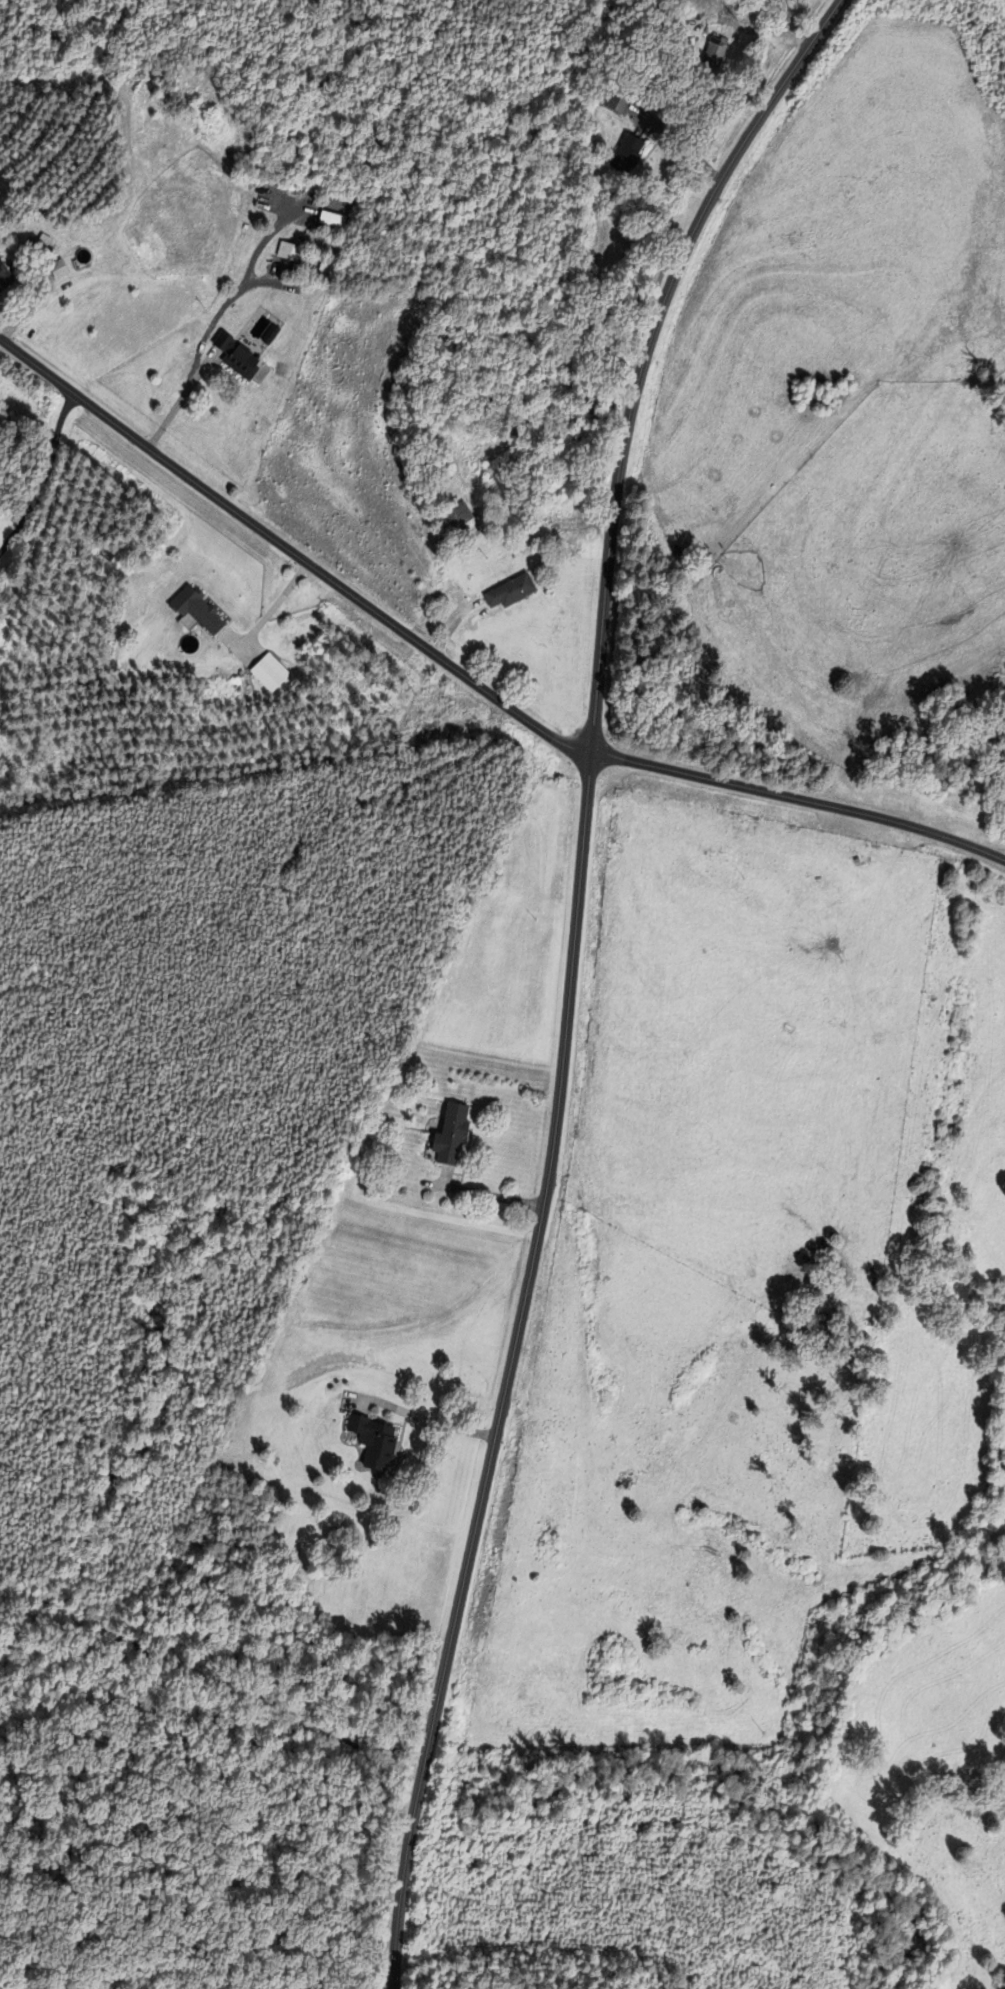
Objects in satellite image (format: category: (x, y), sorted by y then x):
road: (785, 21)
road: (754, 30)
building: (715, 52)
building: (616, 99)
road: (687, 145)
building: (627, 154)
building: (37, 245)
building: (288, 251)
building: (4, 278)
road: (215, 317)
building: (236, 357)
road: (178, 402)
road: (43, 475)
building: (459, 518)
road: (291, 551)
building: (509, 592)
building: (194, 610)
road: (799, 798)
road: (570, 974)
building: (448, 1135)
road: (434, 1421)
building: (379, 1441)
building: (672, 1585)
building: (697, 1667)

